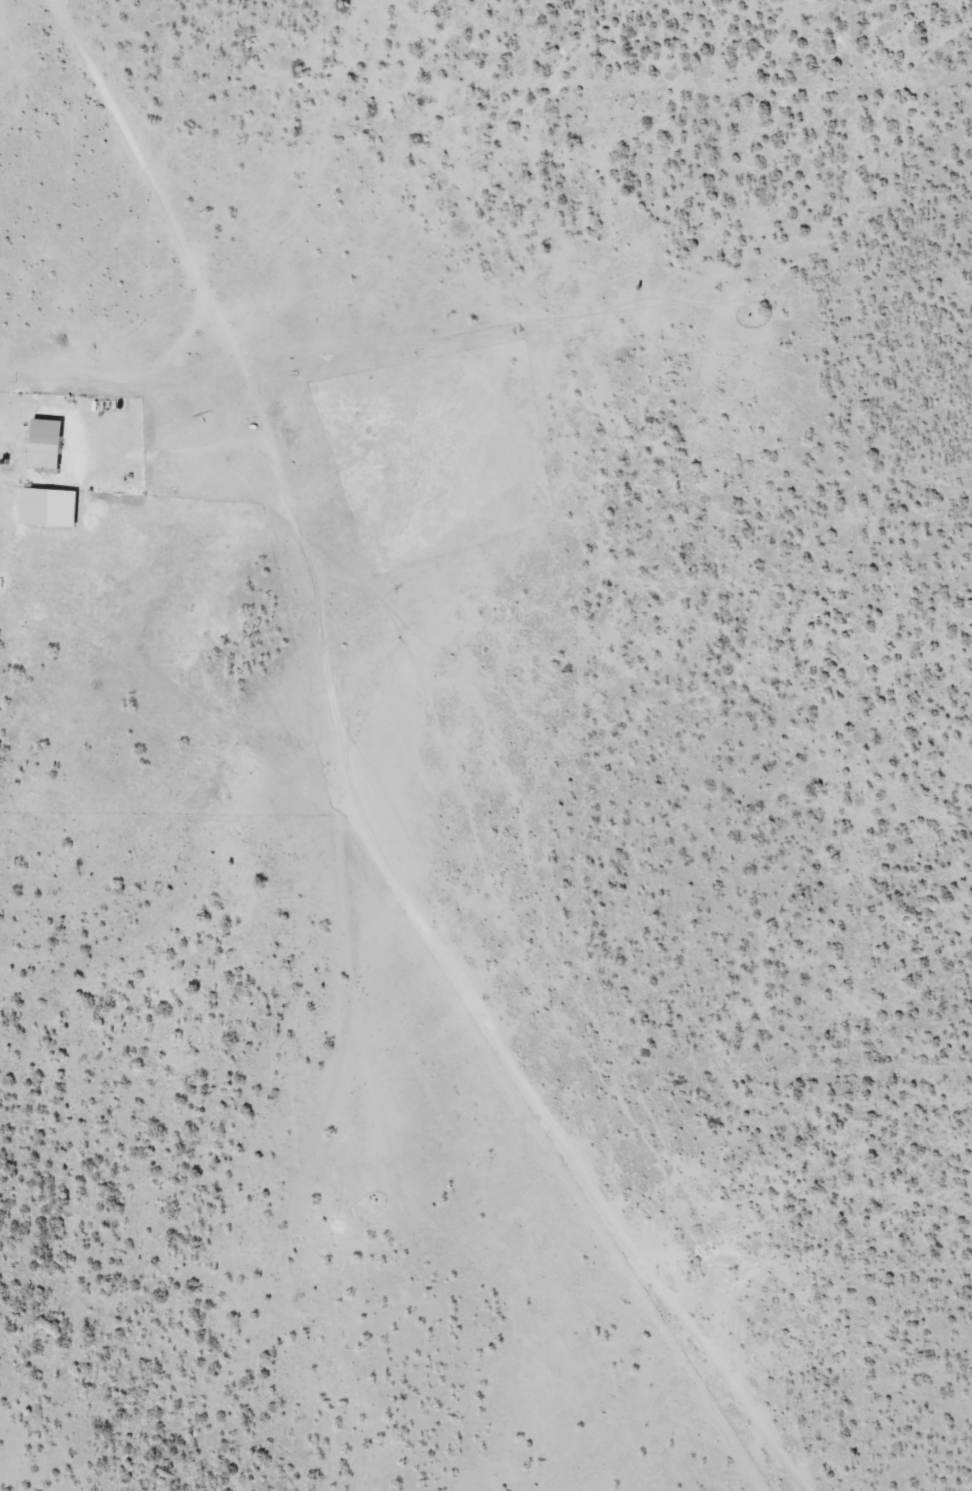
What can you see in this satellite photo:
building: (598, 338)
building: (49, 445)
road: (321, 781)

